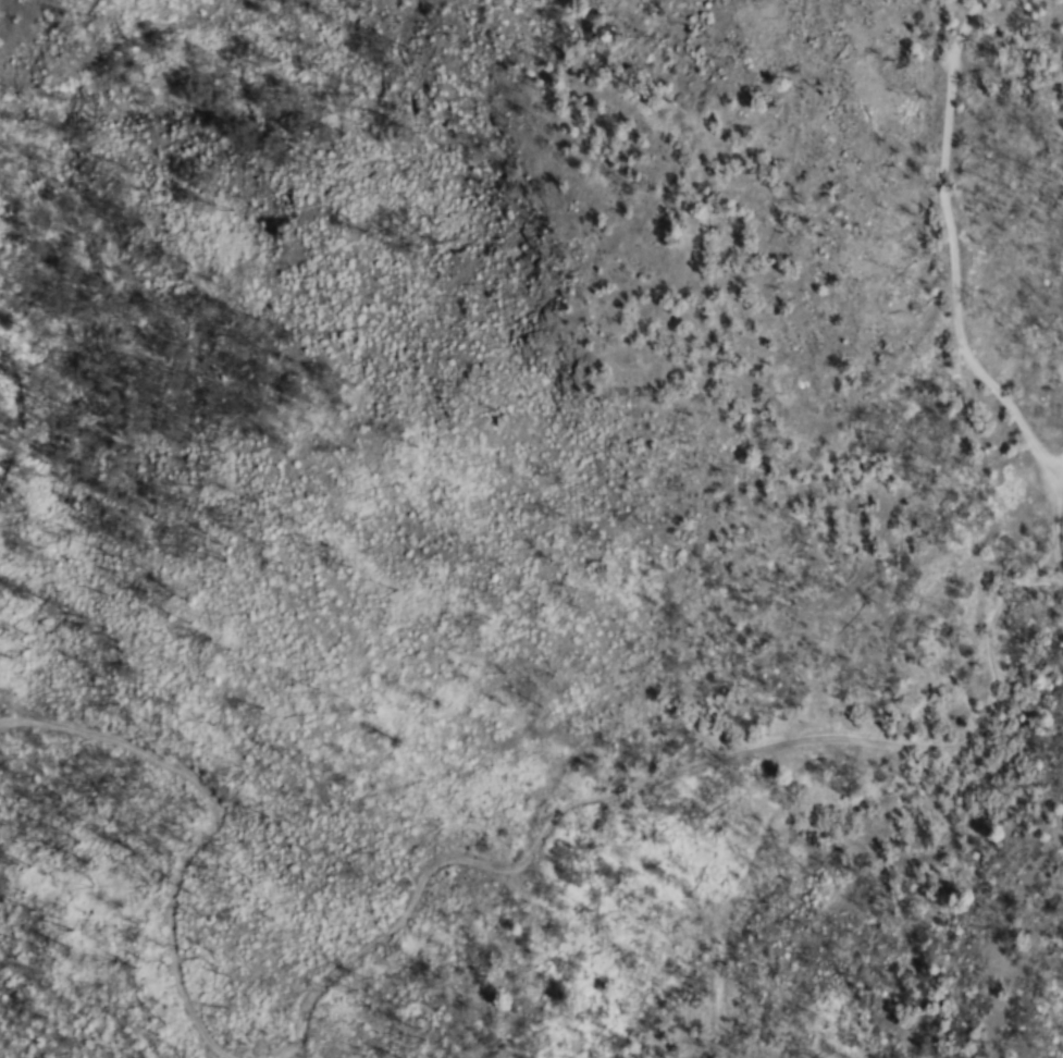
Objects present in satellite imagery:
road: (944, 256)
road: (1053, 483)
road: (688, 756)
road: (208, 823)

